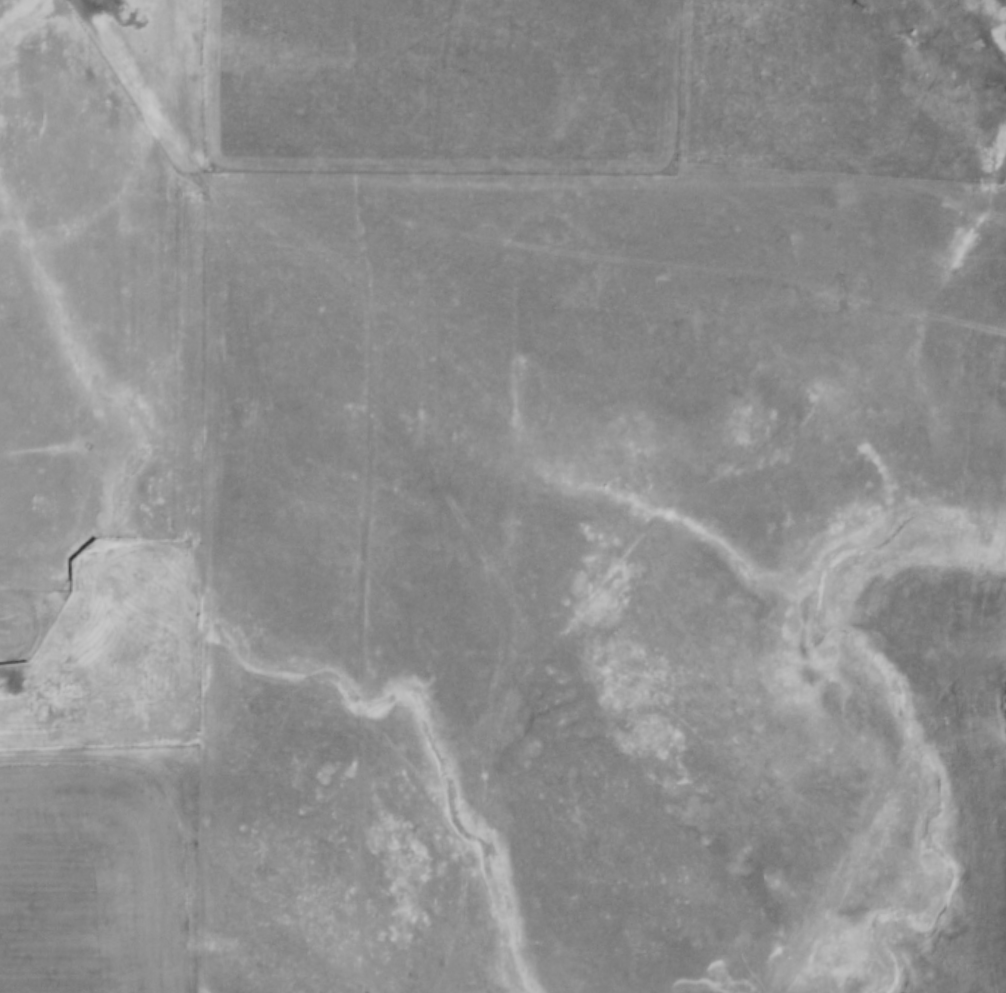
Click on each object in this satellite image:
building: (1004, 37)
road: (508, 257)

